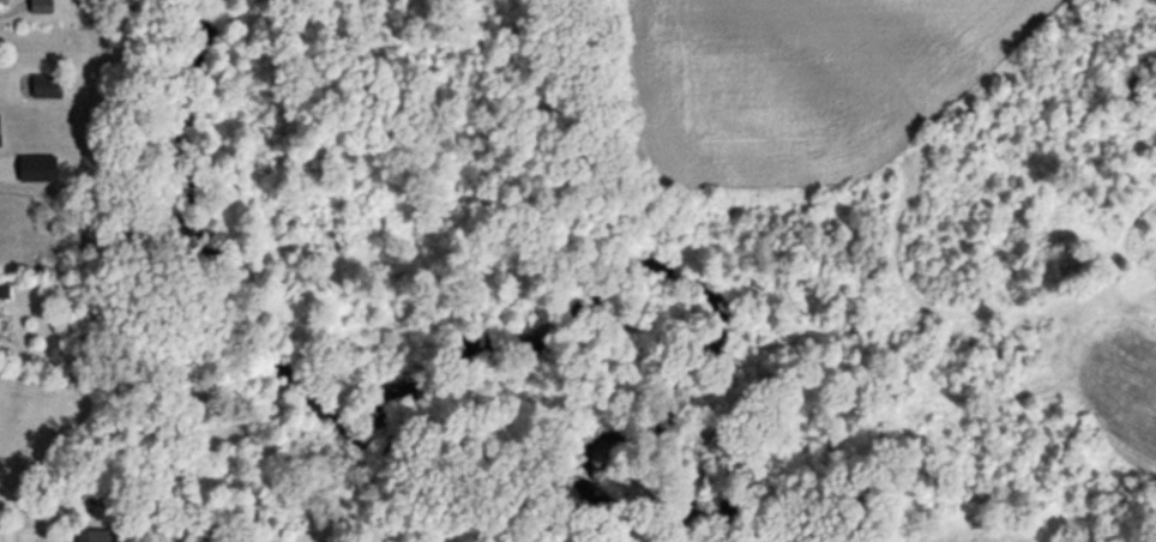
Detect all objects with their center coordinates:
building: (37, 7)
building: (42, 86)
building: (1, 293)
building: (91, 537)

